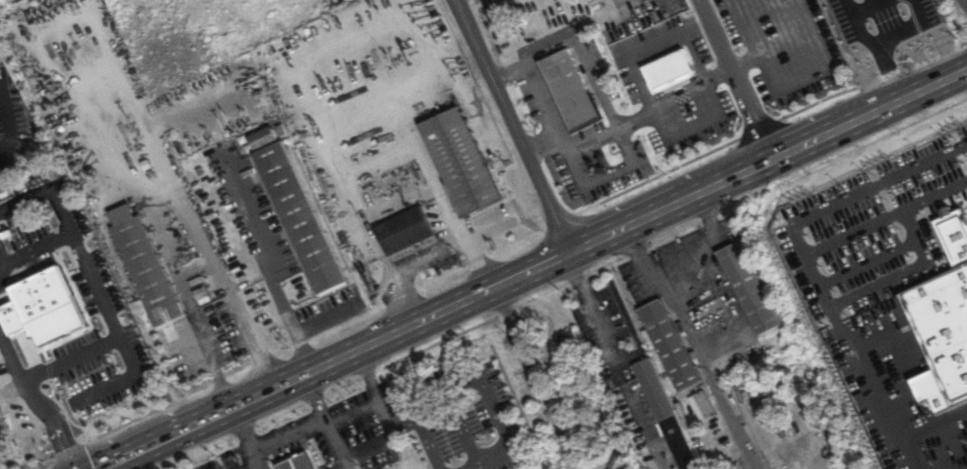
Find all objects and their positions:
road: (963, 4)
road: (417, 15)
road: (714, 35)
road: (573, 40)
building: (668, 70)
building: (569, 90)
road: (673, 97)
road: (513, 126)
building: (264, 140)
building: (461, 161)
road: (864, 188)
building: (299, 216)
building: (404, 231)
building: (954, 236)
road: (867, 262)
road: (266, 264)
building: (145, 265)
road: (531, 268)
road: (903, 271)
building: (748, 288)
road: (820, 290)
building: (45, 308)
building: (71, 330)
building: (942, 338)
building: (567, 340)
building: (669, 344)
road: (695, 345)
road: (227, 346)
road: (534, 377)
building: (654, 389)
building: (617, 461)
building: (295, 463)

